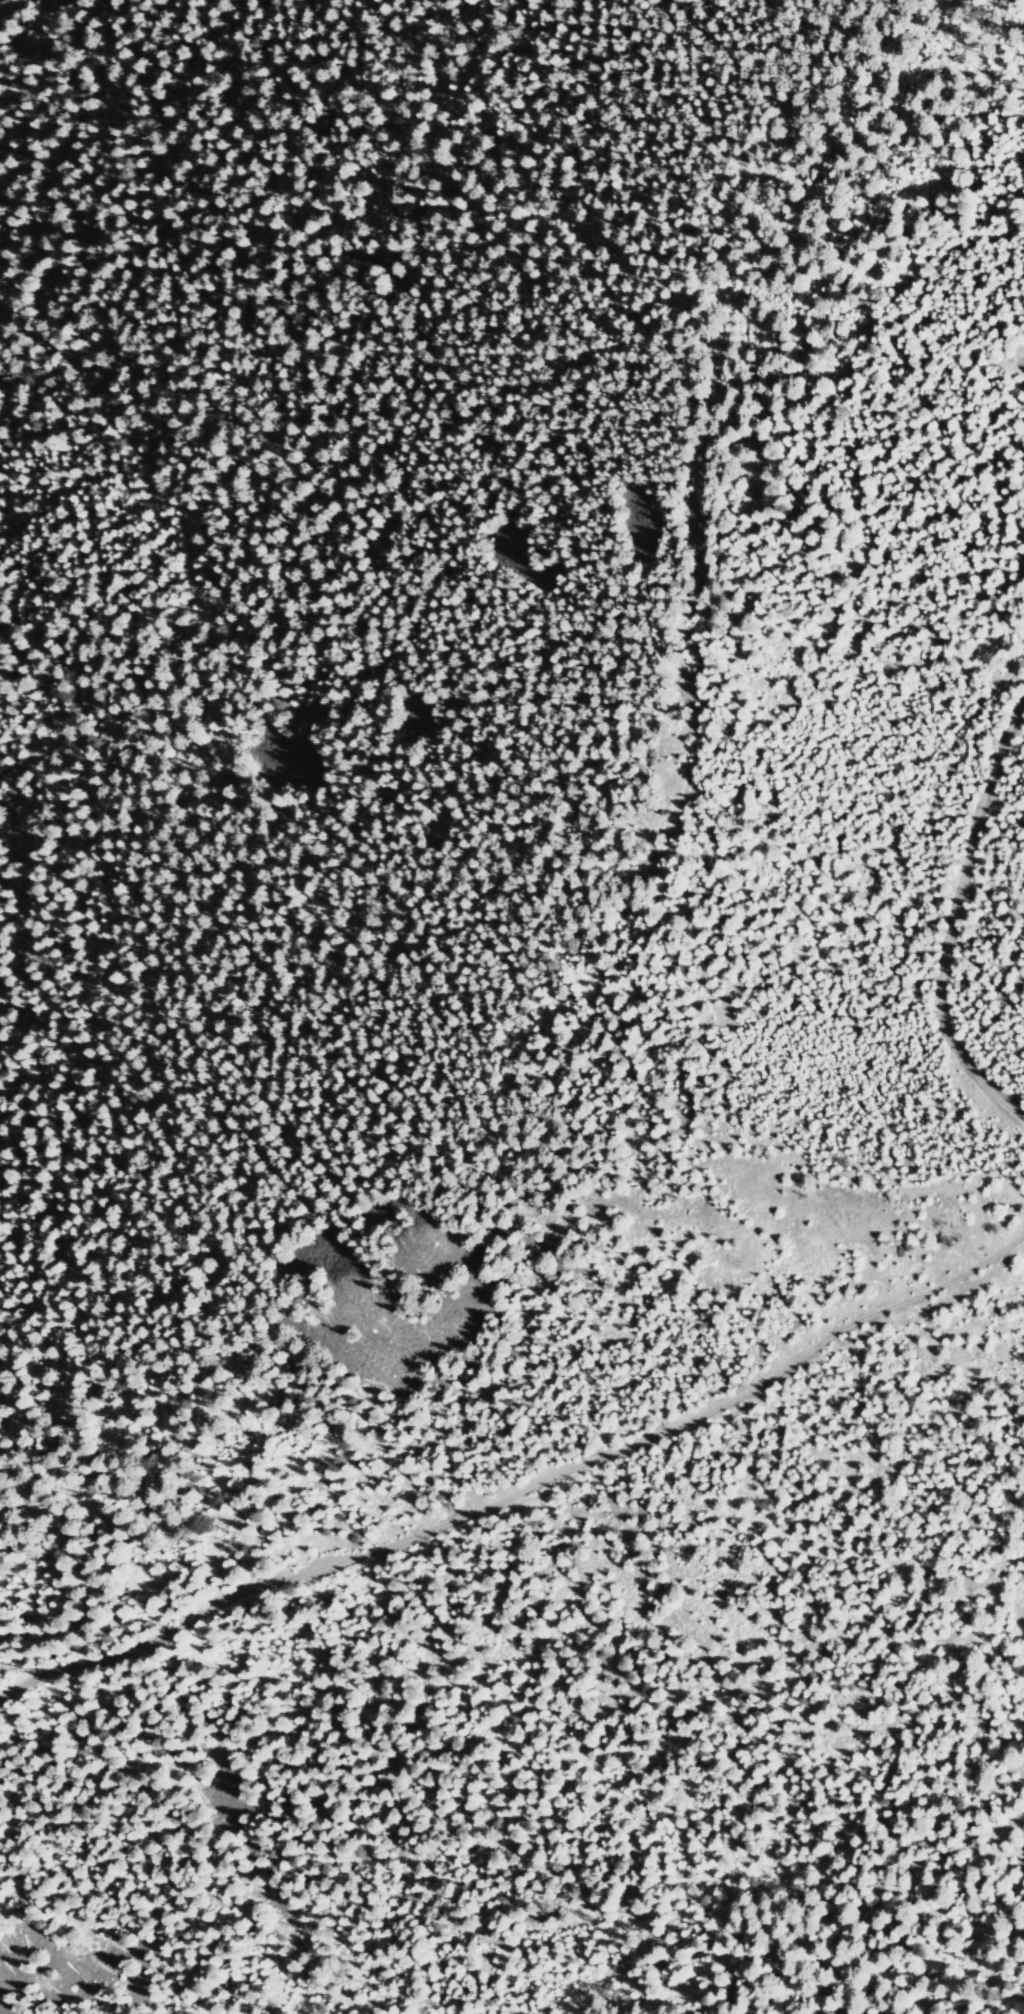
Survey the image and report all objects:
road: (920, 111)
road: (614, 912)
road: (955, 919)
road: (519, 1490)

